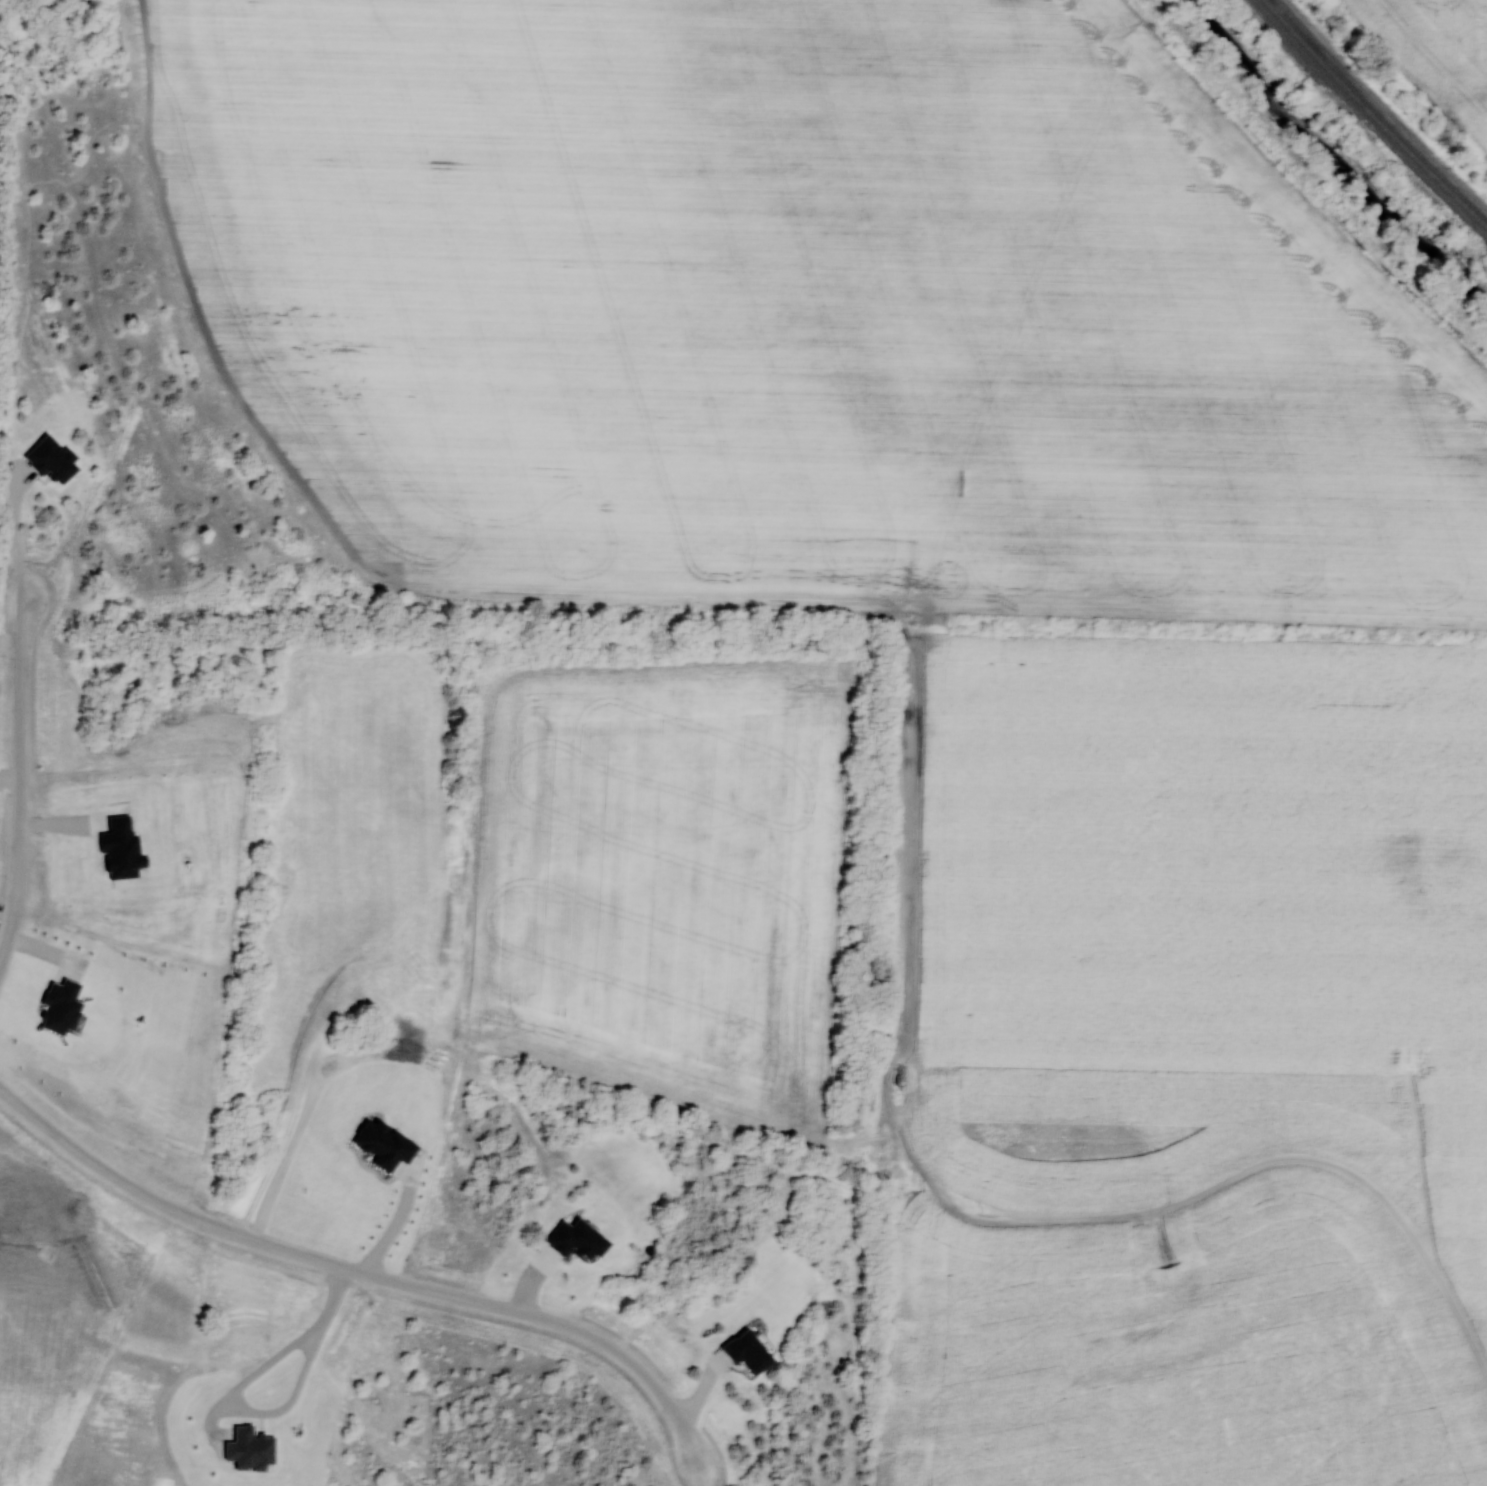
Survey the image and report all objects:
railway: (1379, 109)
railway: (1371, 115)
road: (19, 783)
road: (359, 1272)

